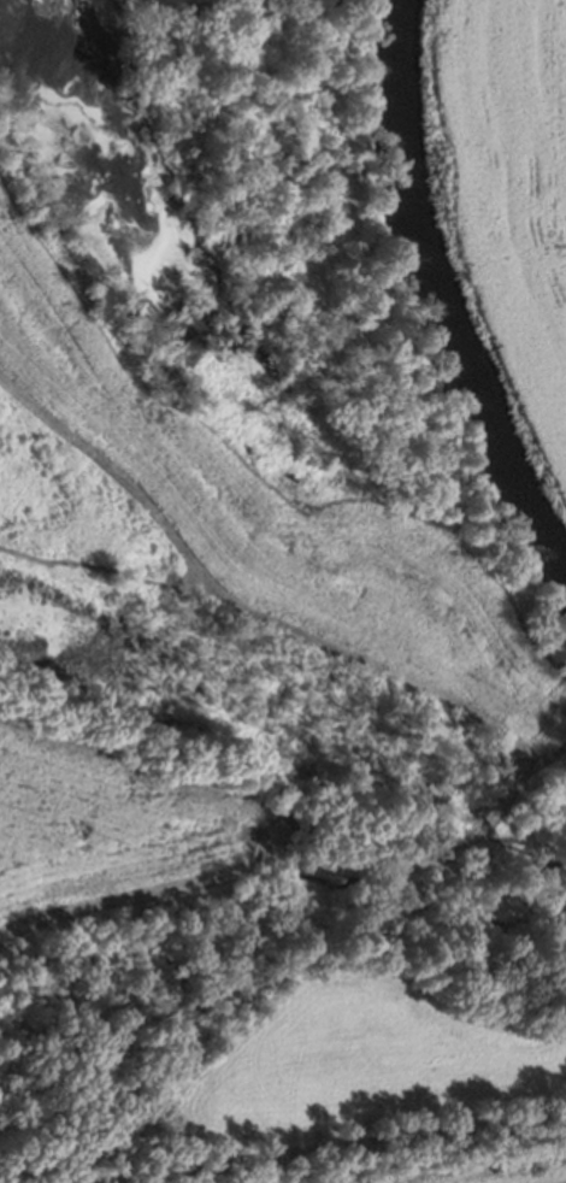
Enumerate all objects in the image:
river: (435, 296)
road: (329, 1148)

